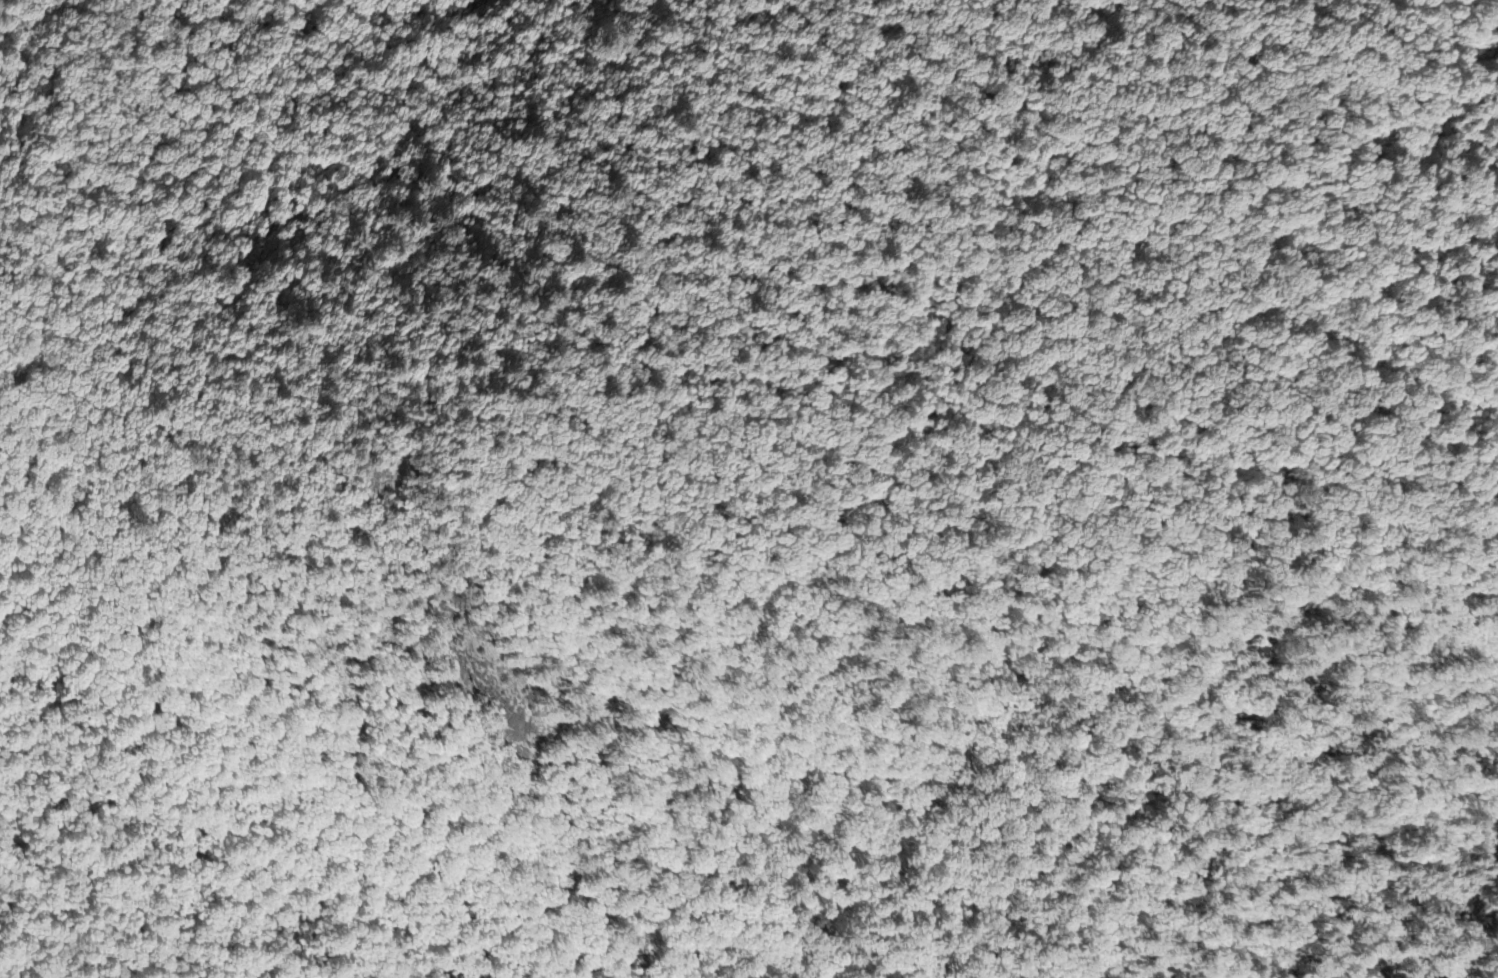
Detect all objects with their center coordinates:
road: (1486, 11)

